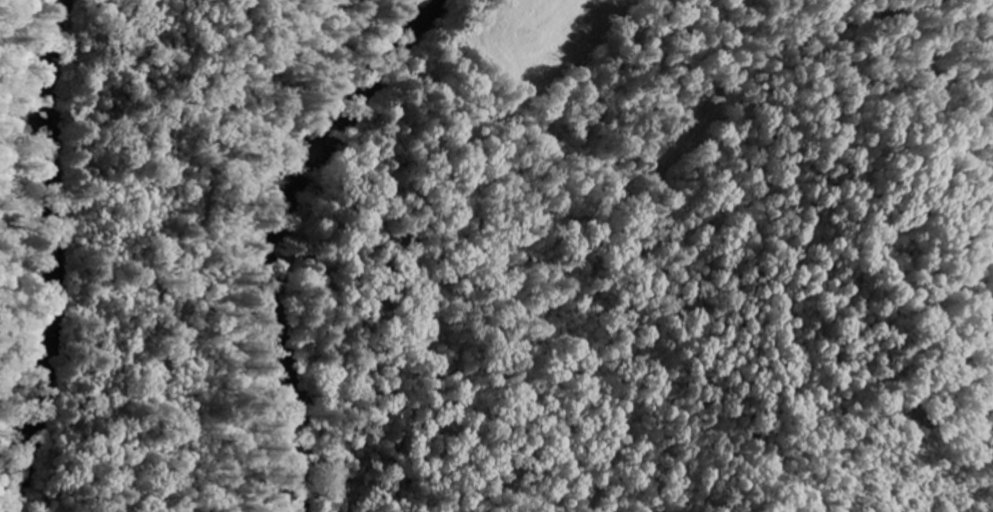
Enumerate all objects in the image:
river: (287, 232)
river: (60, 258)

